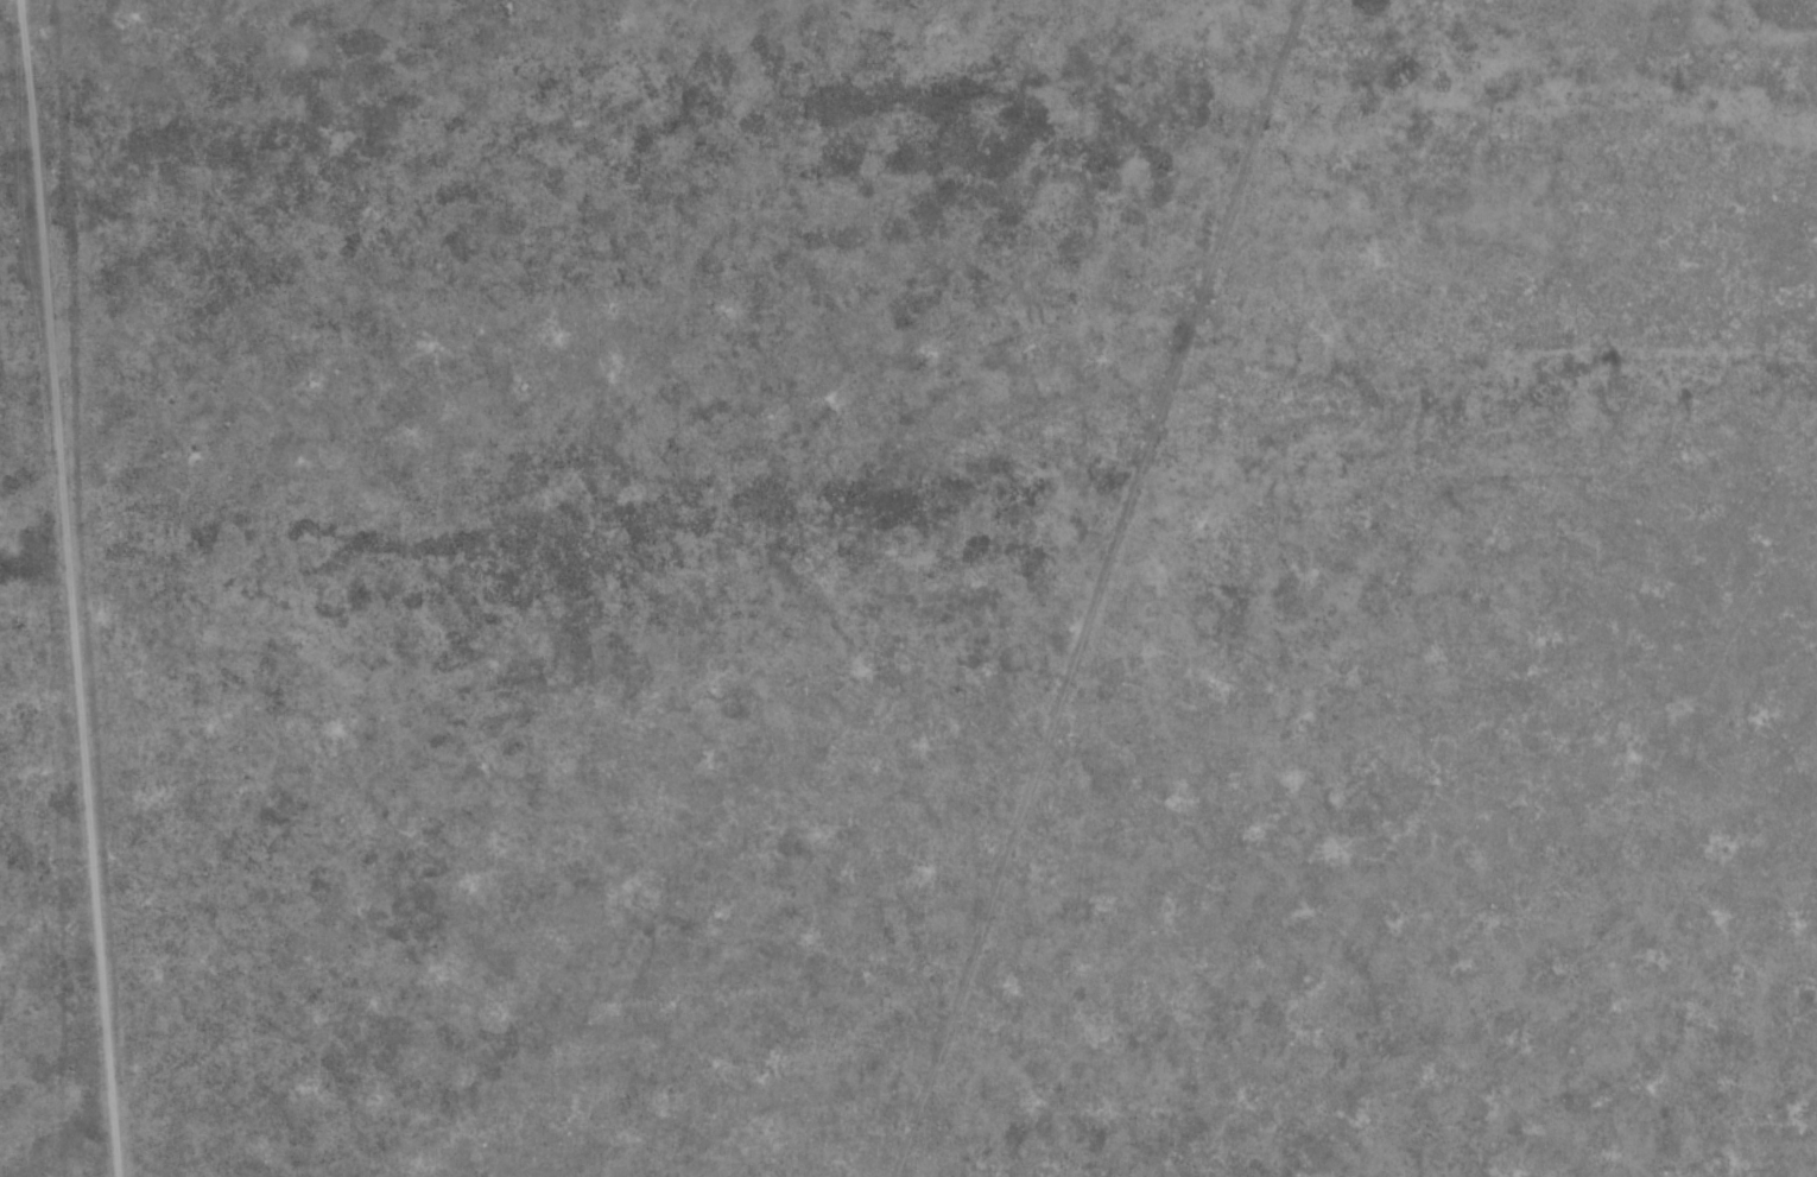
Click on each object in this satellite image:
road: (1005, 588)
road: (44, 666)

